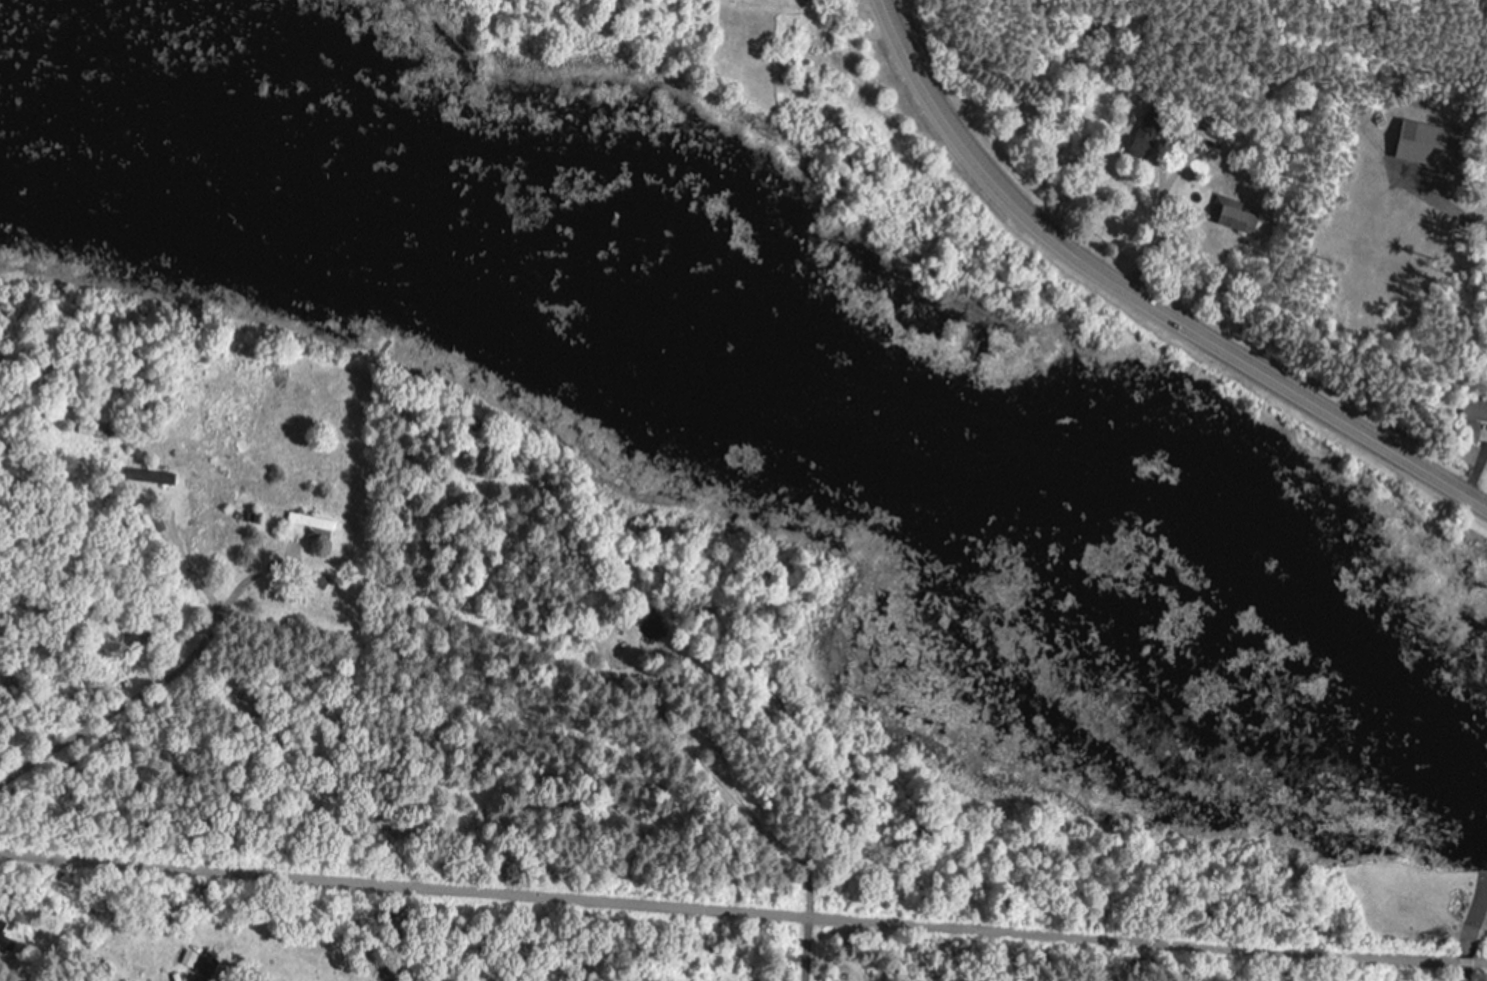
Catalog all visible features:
building: (1137, 148)
building: (1232, 215)
road: (1150, 227)
road: (1138, 301)
building: (1471, 414)
building: (311, 524)
road: (155, 679)
dam: (1468, 863)
road: (727, 911)
road: (809, 913)
road: (1470, 935)
building: (7, 937)
building: (202, 963)
road: (1464, 963)
road: (1480, 963)

